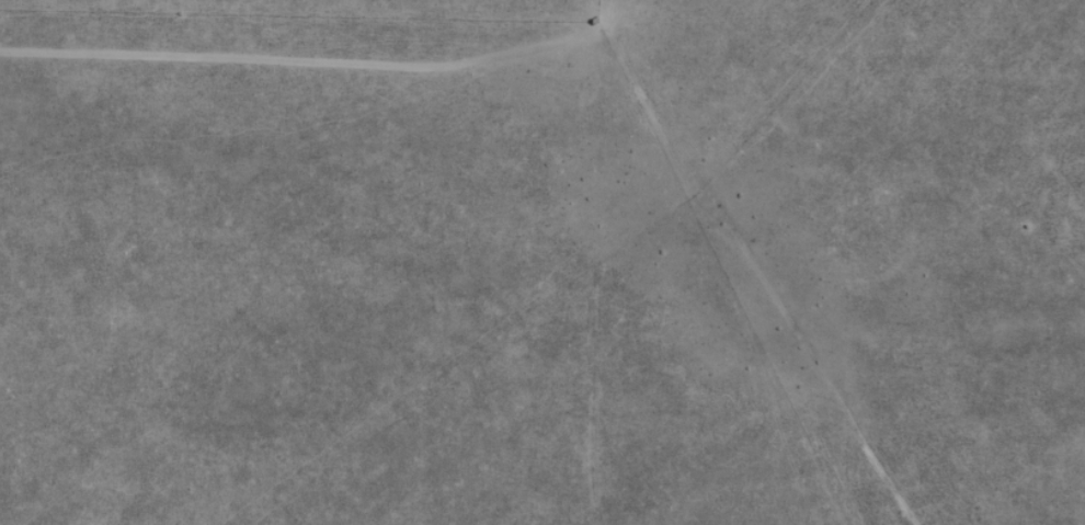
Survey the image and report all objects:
road: (621, 327)

